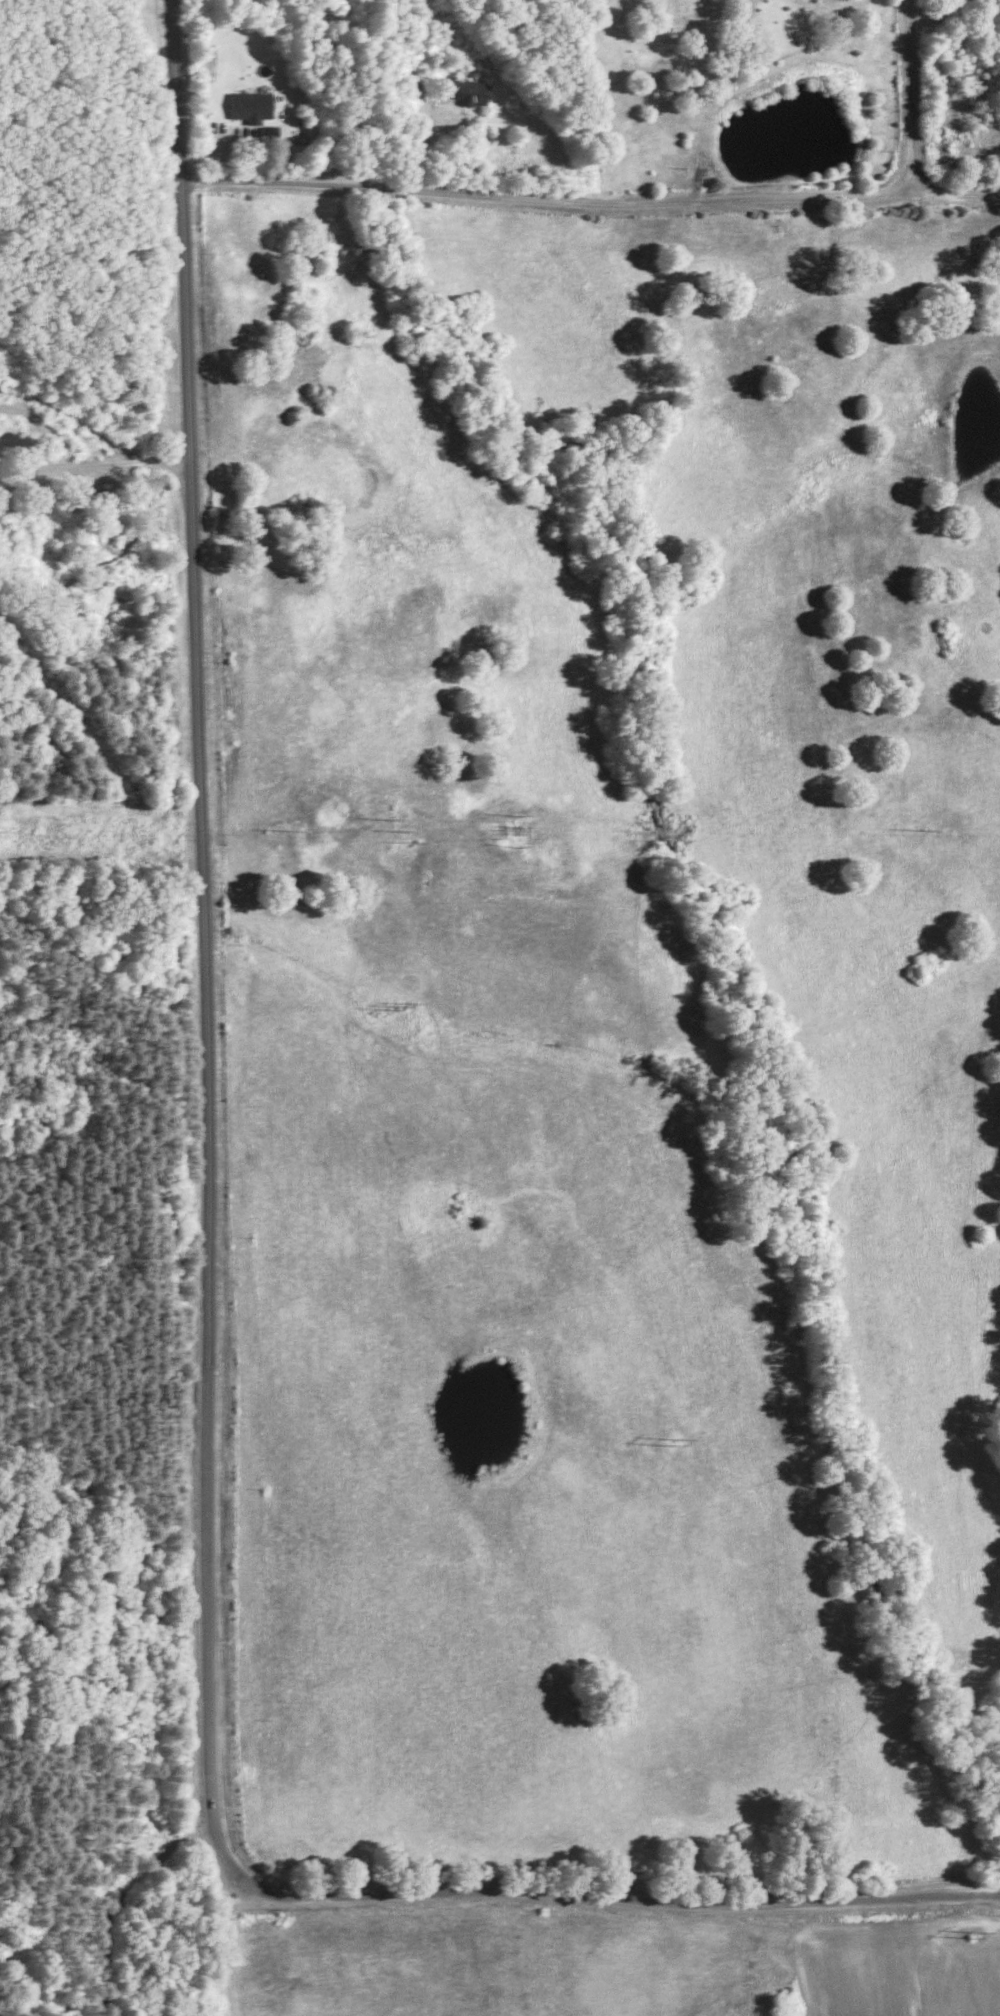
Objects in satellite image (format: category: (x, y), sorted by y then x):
road: (941, 3)
building: (469, 90)
road: (913, 96)
building: (249, 105)
road: (590, 200)
road: (94, 465)
power tower: (292, 830)
power tower: (402, 1006)
road: (206, 1007)
power tower: (672, 1443)
road: (614, 1890)
power tower: (974, 1934)

